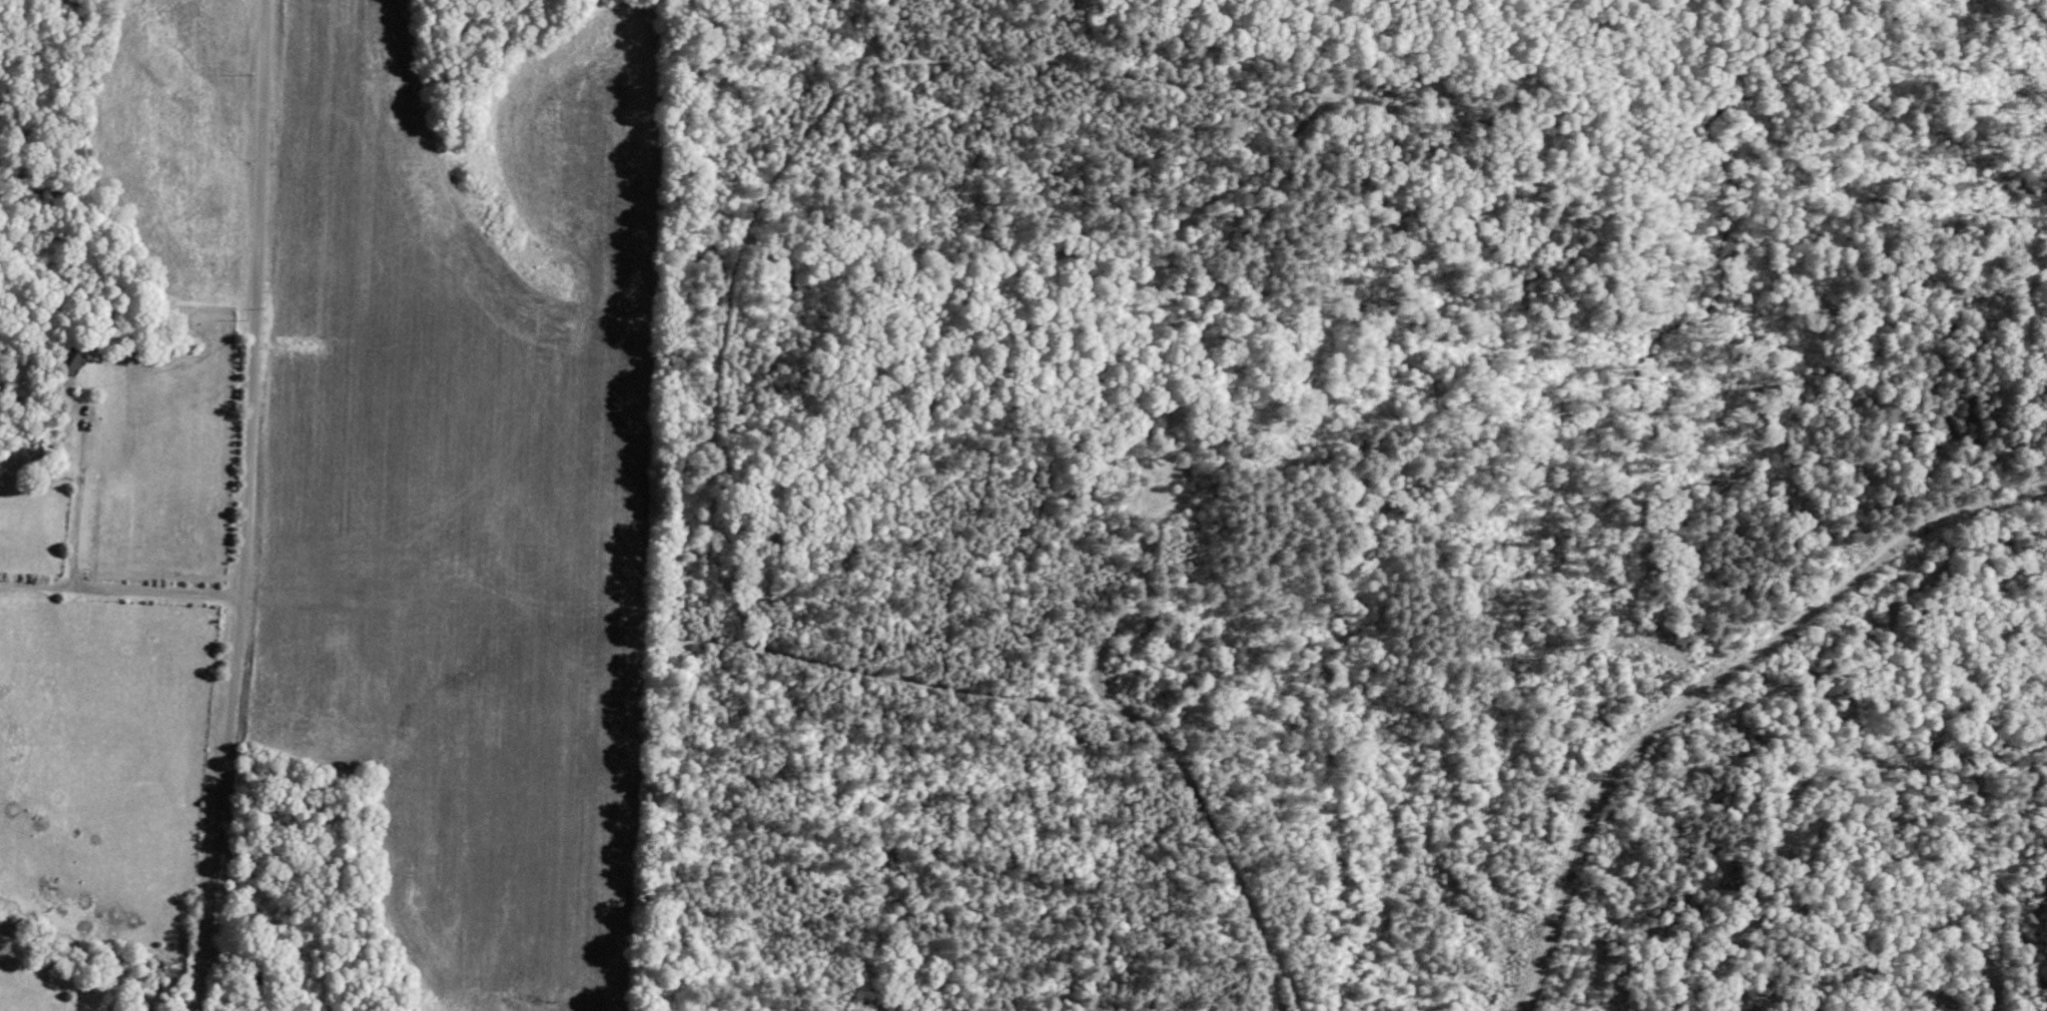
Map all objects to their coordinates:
building: (69, 364)
road: (161, 593)
road: (220, 804)

